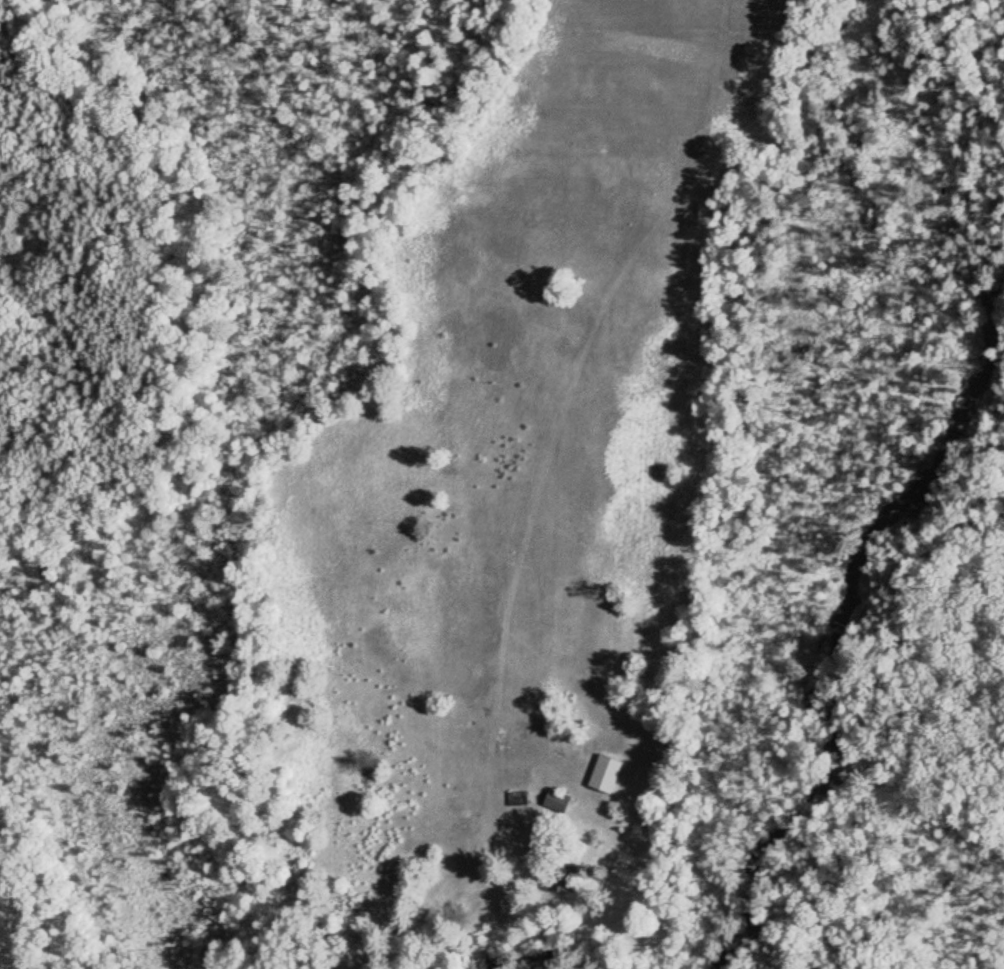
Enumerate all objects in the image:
building: (609, 770)
building: (523, 796)
building: (562, 799)

